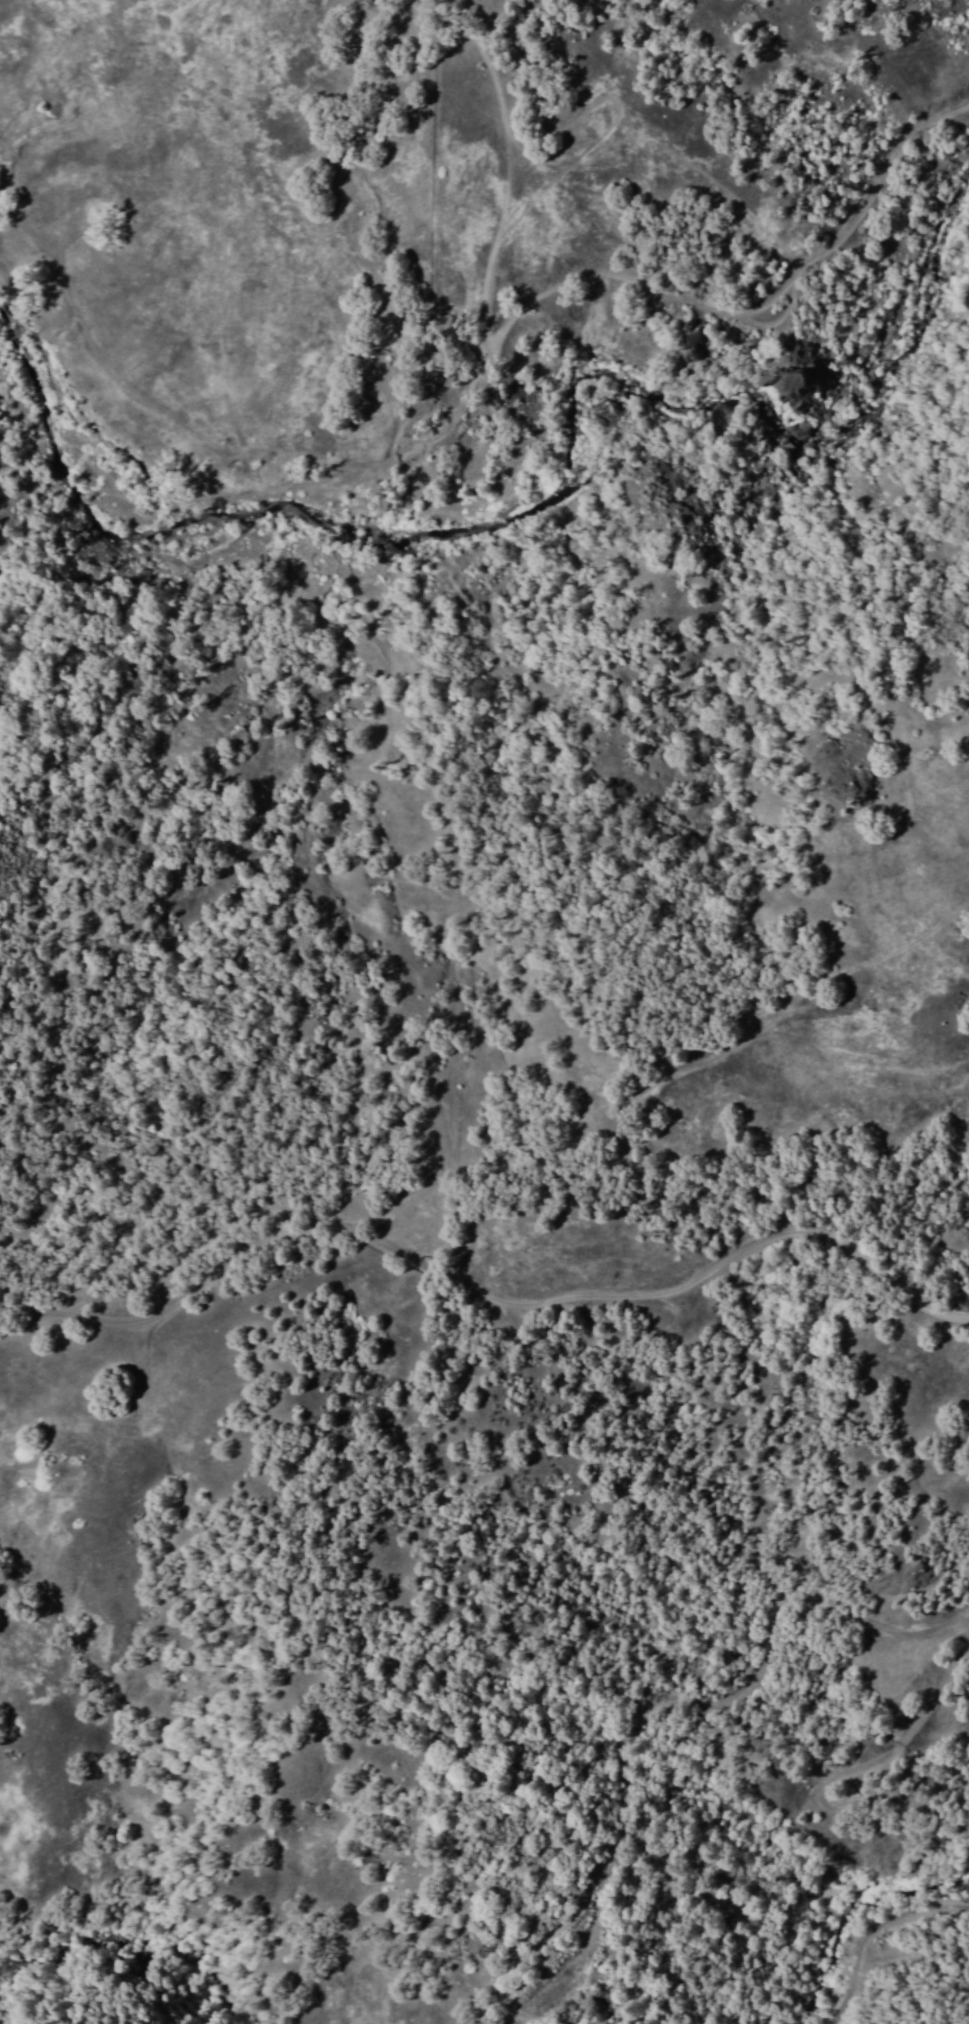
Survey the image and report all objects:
road: (469, 369)
road: (487, 1290)
road: (872, 1933)

